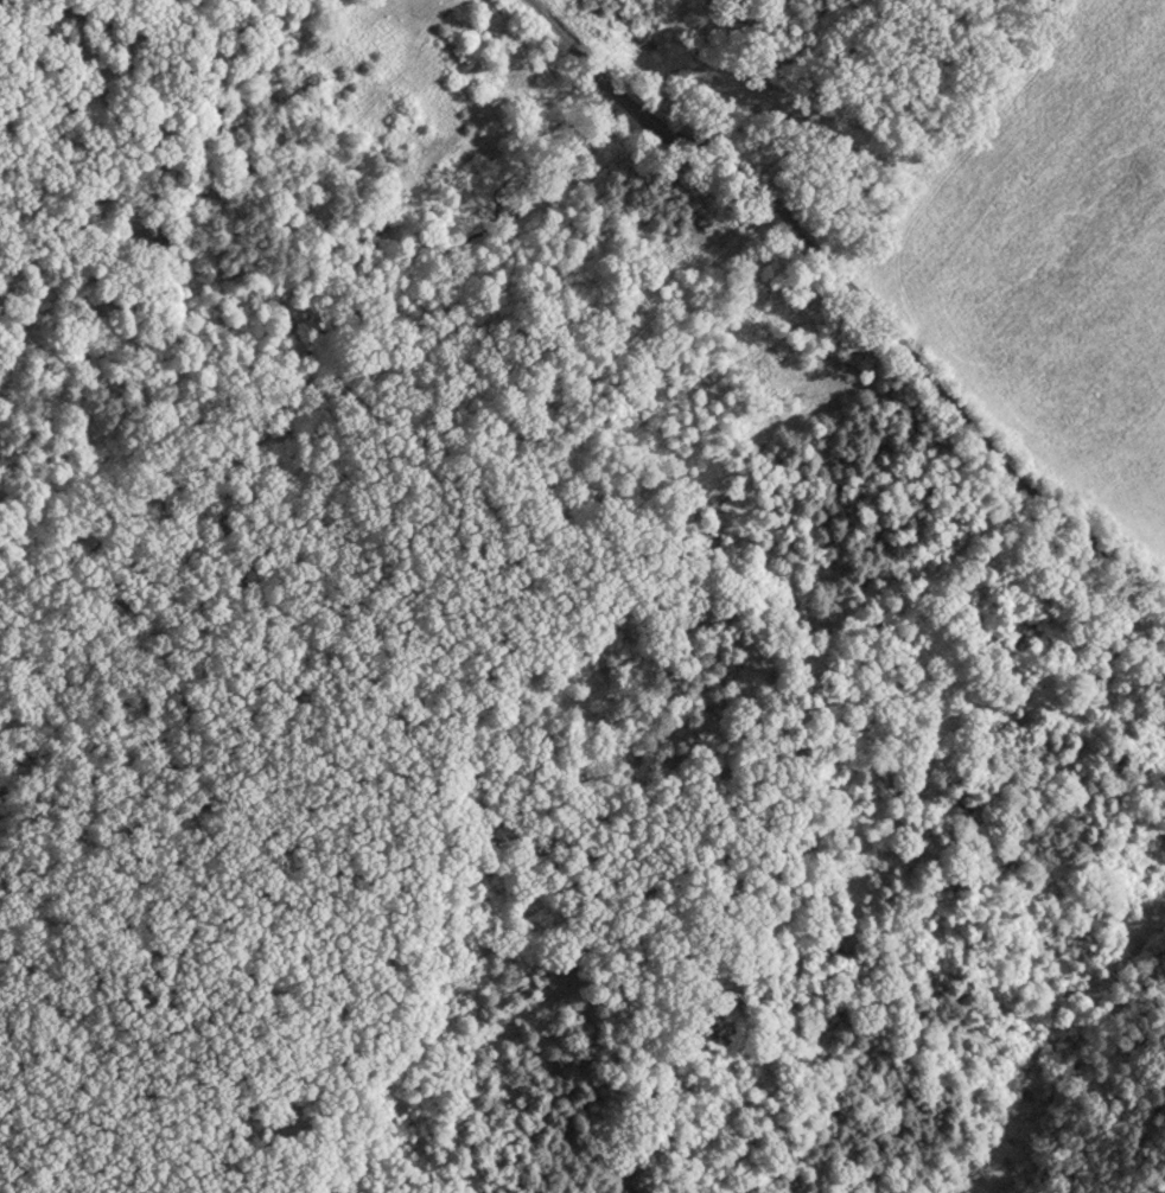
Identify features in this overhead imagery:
road: (874, 257)

